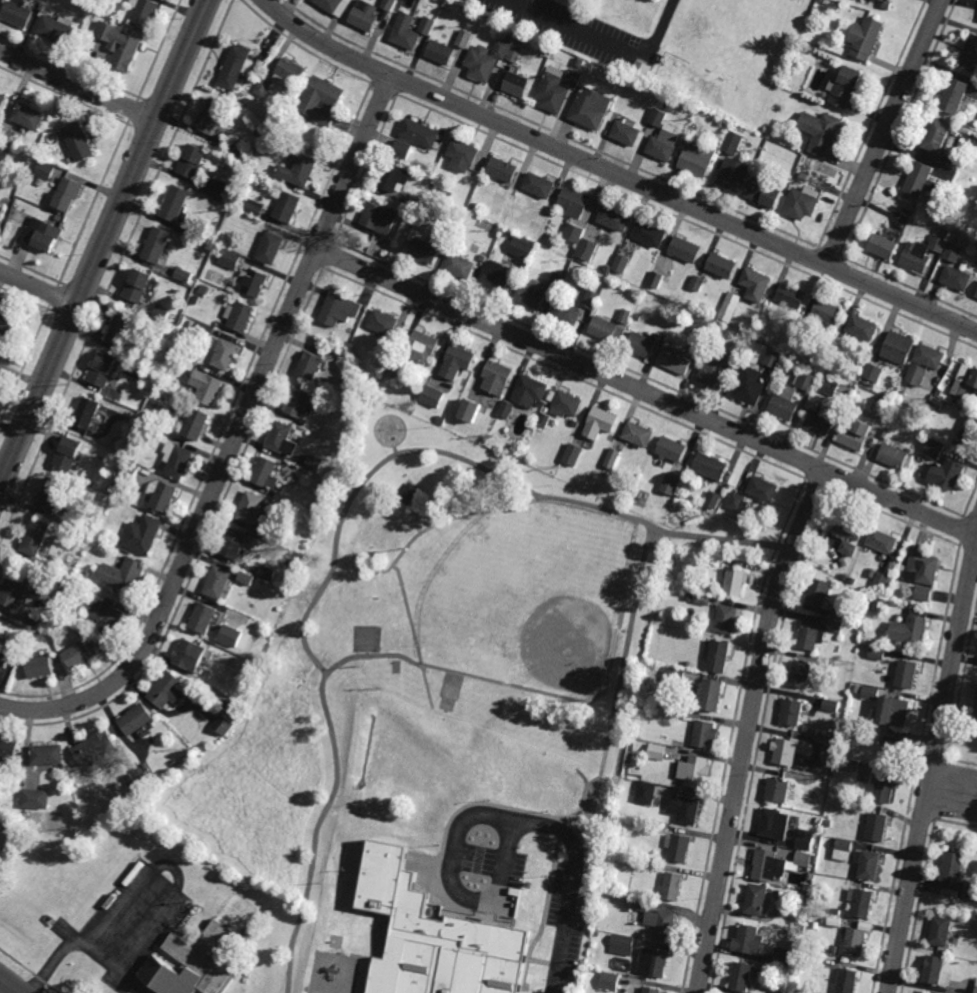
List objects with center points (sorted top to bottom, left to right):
building: (886, 1)
building: (389, 5)
building: (336, 6)
building: (143, 12)
building: (19, 13)
building: (365, 17)
building: (81, 19)
building: (428, 25)
building: (57, 29)
building: (406, 33)
building: (866, 38)
building: (464, 39)
road: (602, 41)
building: (119, 44)
building: (515, 53)
building: (441, 54)
building: (971, 54)
building: (482, 64)
building: (237, 68)
building: (290, 74)
building: (573, 79)
road: (79, 85)
building: (518, 86)
building: (263, 87)
building: (847, 87)
building: (553, 92)
building: (956, 96)
building: (3, 102)
building: (322, 102)
building: (591, 109)
building: (31, 116)
building: (658, 117)
building: (213, 118)
building: (821, 132)
road: (884, 132)
building: (420, 134)
building: (625, 134)
building: (7, 136)
building: (939, 136)
building: (77, 142)
building: (732, 142)
building: (665, 144)
building: (402, 150)
building: (462, 157)
building: (699, 160)
building: (69, 161)
building: (193, 162)
building: (47, 170)
building: (504, 171)
building: (299, 172)
road: (616, 173)
building: (734, 176)
building: (395, 179)
building: (919, 180)
building: (540, 187)
building: (219, 189)
building: (66, 195)
building: (765, 195)
building: (574, 203)
building: (177, 204)
building: (802, 204)
building: (255, 207)
building: (289, 209)
building: (2, 213)
building: (616, 219)
building: (381, 220)
building: (43, 235)
building: (650, 235)
building: (581, 242)
road: (104, 245)
building: (159, 246)
building: (884, 247)
building: (522, 248)
building: (271, 250)
building: (426, 251)
building: (686, 251)
building: (952, 252)
building: (231, 259)
building: (914, 260)
building: (621, 263)
building: (721, 266)
building: (461, 268)
building: (185, 275)
building: (498, 277)
building: (957, 278)
building: (655, 279)
building: (255, 283)
building: (696, 283)
building: (756, 285)
road: (39, 287)
building: (140, 288)
building: (533, 296)
building: (976, 296)
building: (792, 297)
building: (590, 299)
building: (729, 307)
building: (340, 310)
building: (830, 313)
building: (567, 314)
building: (240, 316)
building: (625, 316)
building: (10, 321)
building: (384, 324)
building: (702, 327)
building: (863, 328)
building: (123, 330)
building: (606, 331)
building: (208, 334)
building: (642, 346)
building: (422, 349)
building: (898, 349)
building: (226, 355)
building: (930, 357)
building: (771, 359)
building: (457, 362)
building: (678, 363)
building: (310, 367)
building: (104, 371)
building: (715, 372)
building: (872, 372)
building: (1, 374)
building: (915, 375)
building: (497, 378)
building: (806, 380)
building: (975, 381)
building: (750, 387)
building: (829, 387)
building: (208, 389)
building: (529, 392)
road: (646, 392)
building: (432, 396)
building: (300, 405)
building: (567, 405)
building: (785, 405)
building: (878, 407)
building: (506, 409)
building: (470, 410)
building: (88, 414)
building: (544, 420)
building: (822, 421)
building: (601, 423)
building: (197, 426)
building: (970, 431)
building: (639, 435)
building: (857, 435)
road: (236, 440)
building: (282, 440)
building: (934, 448)
building: (672, 450)
building: (70, 454)
building: (572, 454)
building: (894, 457)
building: (612, 458)
building: (177, 461)
building: (314, 464)
building: (711, 467)
building: (266, 474)
building: (948, 475)
building: (669, 485)
building: (764, 490)
building: (409, 493)
building: (53, 495)
building: (165, 498)
building: (713, 500)
building: (739, 503)
building: (251, 509)
road: (342, 520)
road: (416, 520)
building: (849, 529)
building: (144, 535)
road: (976, 535)
building: (37, 538)
building: (883, 542)
building: (235, 544)
building: (848, 548)
road: (403, 554)
building: (924, 567)
building: (123, 576)
building: (245, 578)
building: (735, 583)
building: (218, 584)
building: (17, 591)
building: (923, 593)
building: (819, 595)
building: (703, 599)
park: (530, 600)
building: (838, 614)
building: (107, 619)
building: (204, 619)
building: (728, 620)
building: (836, 626)
building: (910, 632)
building: (230, 636)
building: (810, 636)
building: (0, 640)
building: (1, 643)
building: (877, 653)
building: (79, 656)
building: (191, 656)
building: (720, 658)
road: (424, 665)
park: (439, 665)
building: (41, 668)
building: (908, 675)
building: (803, 676)
building: (169, 692)
road: (618, 692)
building: (871, 692)
building: (712, 696)
building: (831, 705)
building: (896, 713)
building: (794, 714)
building: (976, 718)
building: (137, 721)
building: (223, 724)
road: (750, 729)
building: (706, 736)
building: (8, 750)
building: (95, 750)
building: (658, 751)
building: (787, 754)
building: (892, 754)
building: (47, 756)
road: (934, 762)
building: (696, 773)
park: (530, 775)
road: (954, 789)
building: (885, 791)
building: (646, 792)
building: (780, 793)
building: (35, 799)
building: (685, 811)
building: (776, 825)
building: (877, 828)
building: (804, 841)
building: (679, 849)
building: (844, 849)
building: (803, 858)
road: (173, 868)
building: (771, 868)
building: (870, 868)
building: (955, 868)
road: (163, 882)
road: (575, 884)
building: (211, 887)
building: (673, 888)
building: (970, 891)
road: (459, 894)
building: (758, 902)
building: (862, 903)
building: (662, 925)
building: (942, 932)
parking lot: (568, 939)
building: (421, 941)
building: (751, 942)
building: (855, 943)
building: (622, 945)
road: (83, 946)
building: (783, 956)
building: (654, 963)
building: (193, 964)
building: (935, 972)
building: (743, 978)
building: (610, 981)
building: (846, 981)
road: (2, 985)
road: (8, 986)
building: (976, 989)
building: (652, 990)

